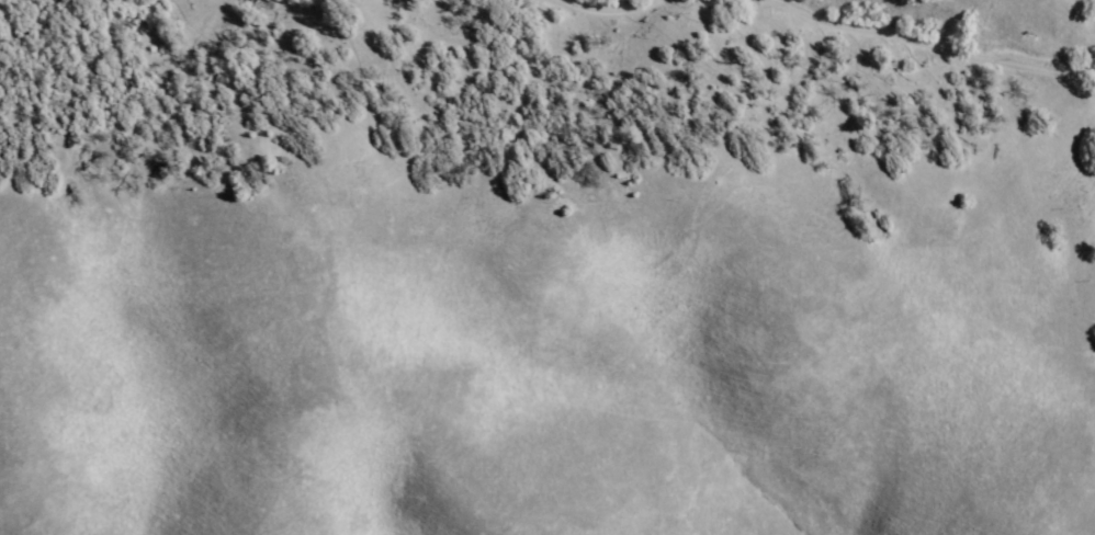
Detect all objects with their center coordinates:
road: (607, 3)
road: (935, 45)

